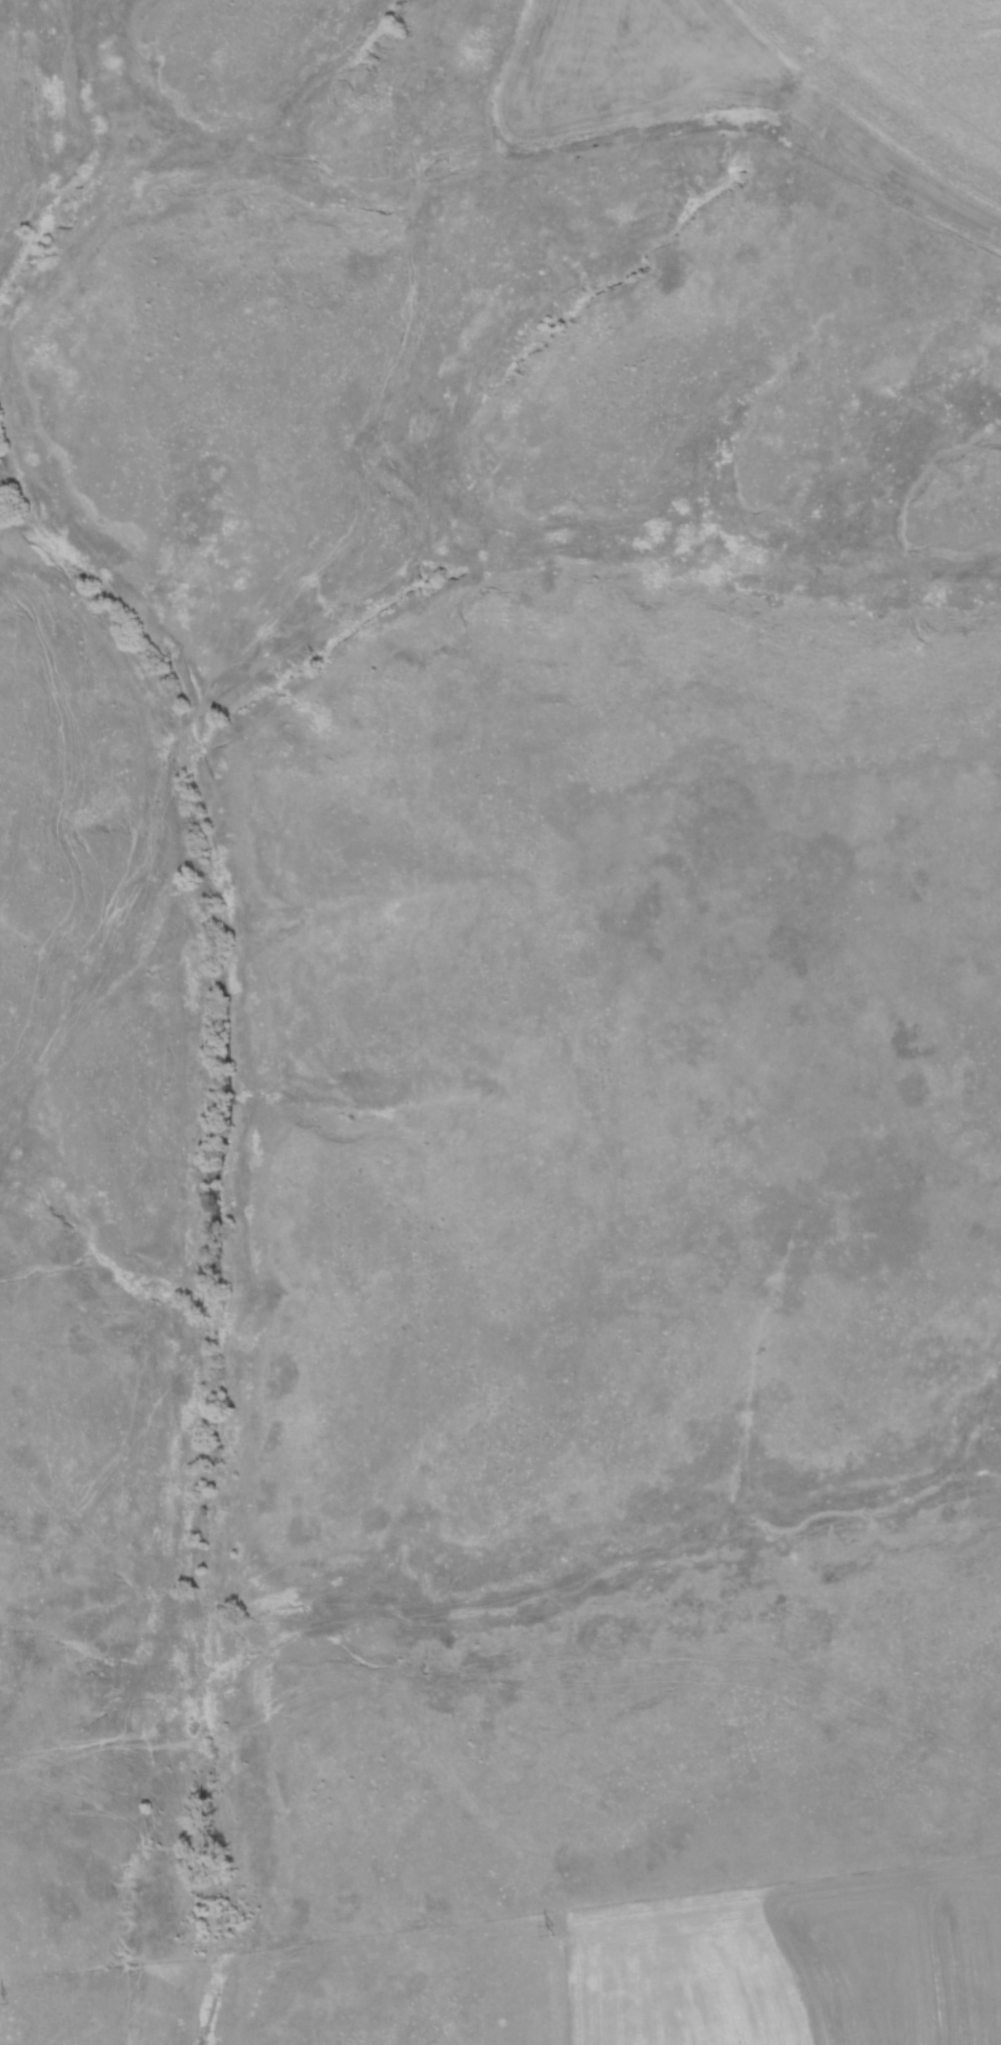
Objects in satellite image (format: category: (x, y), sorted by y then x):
power tower: (553, 1930)
power tower: (8, 1999)

